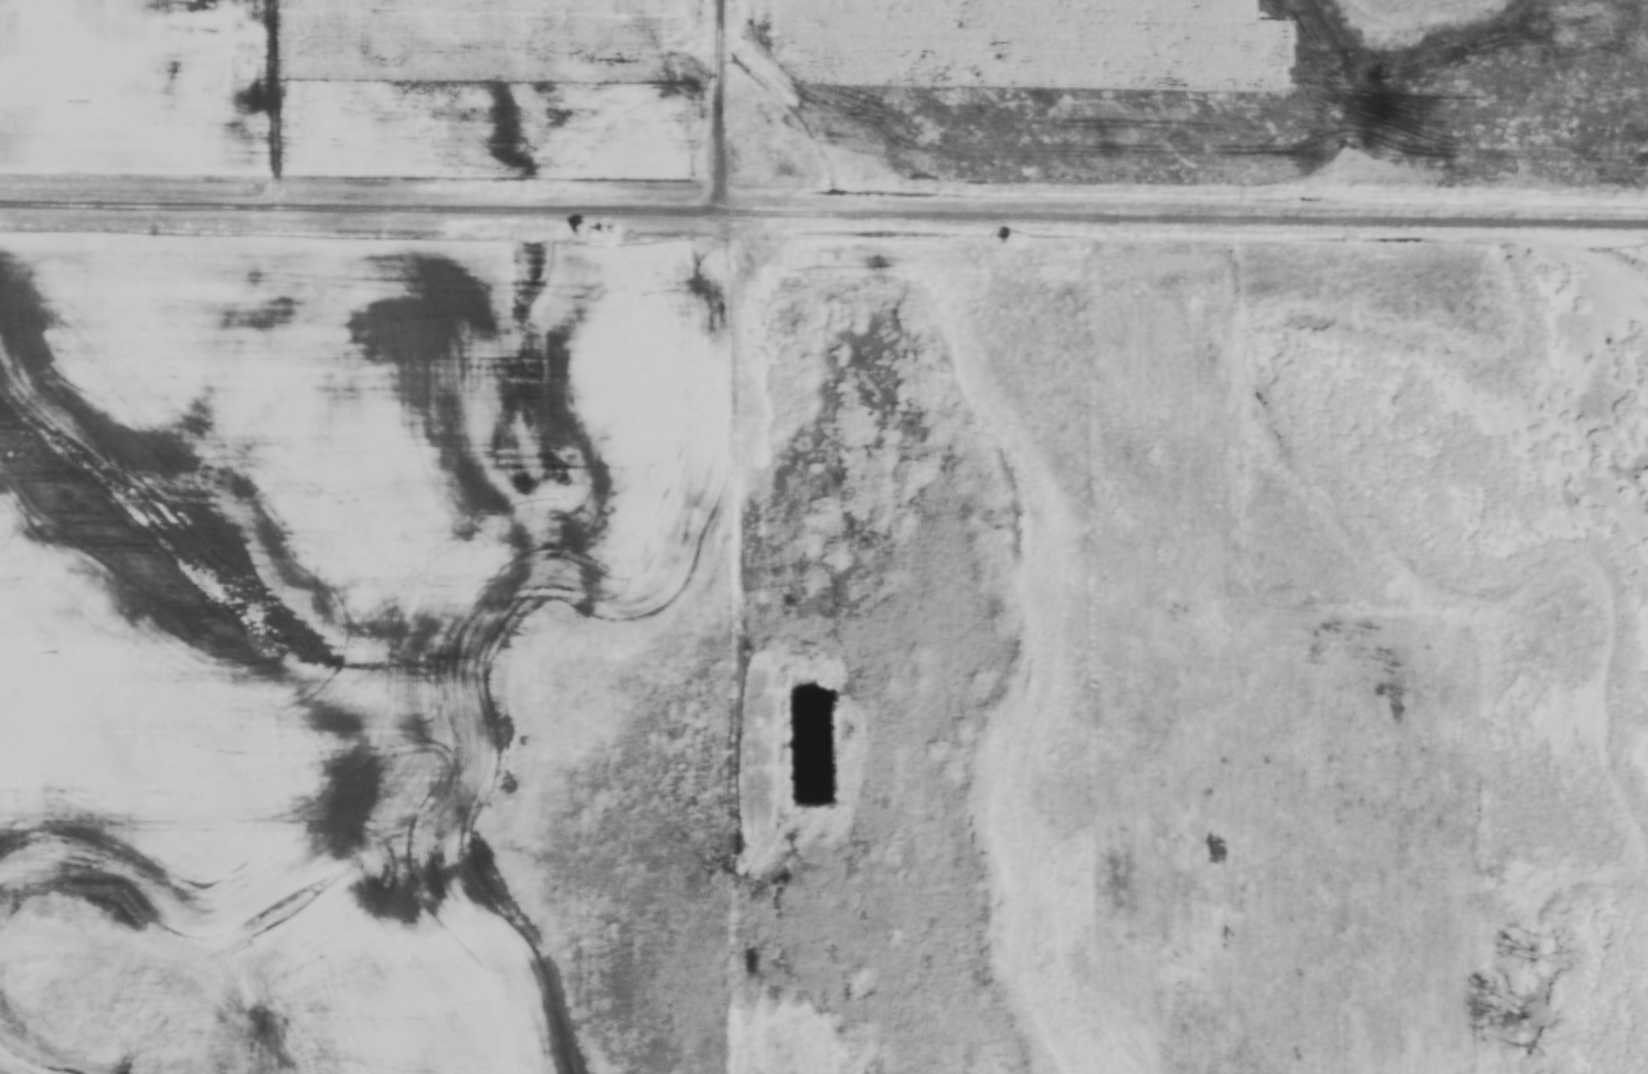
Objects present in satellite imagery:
road: (723, 107)
road: (823, 215)

